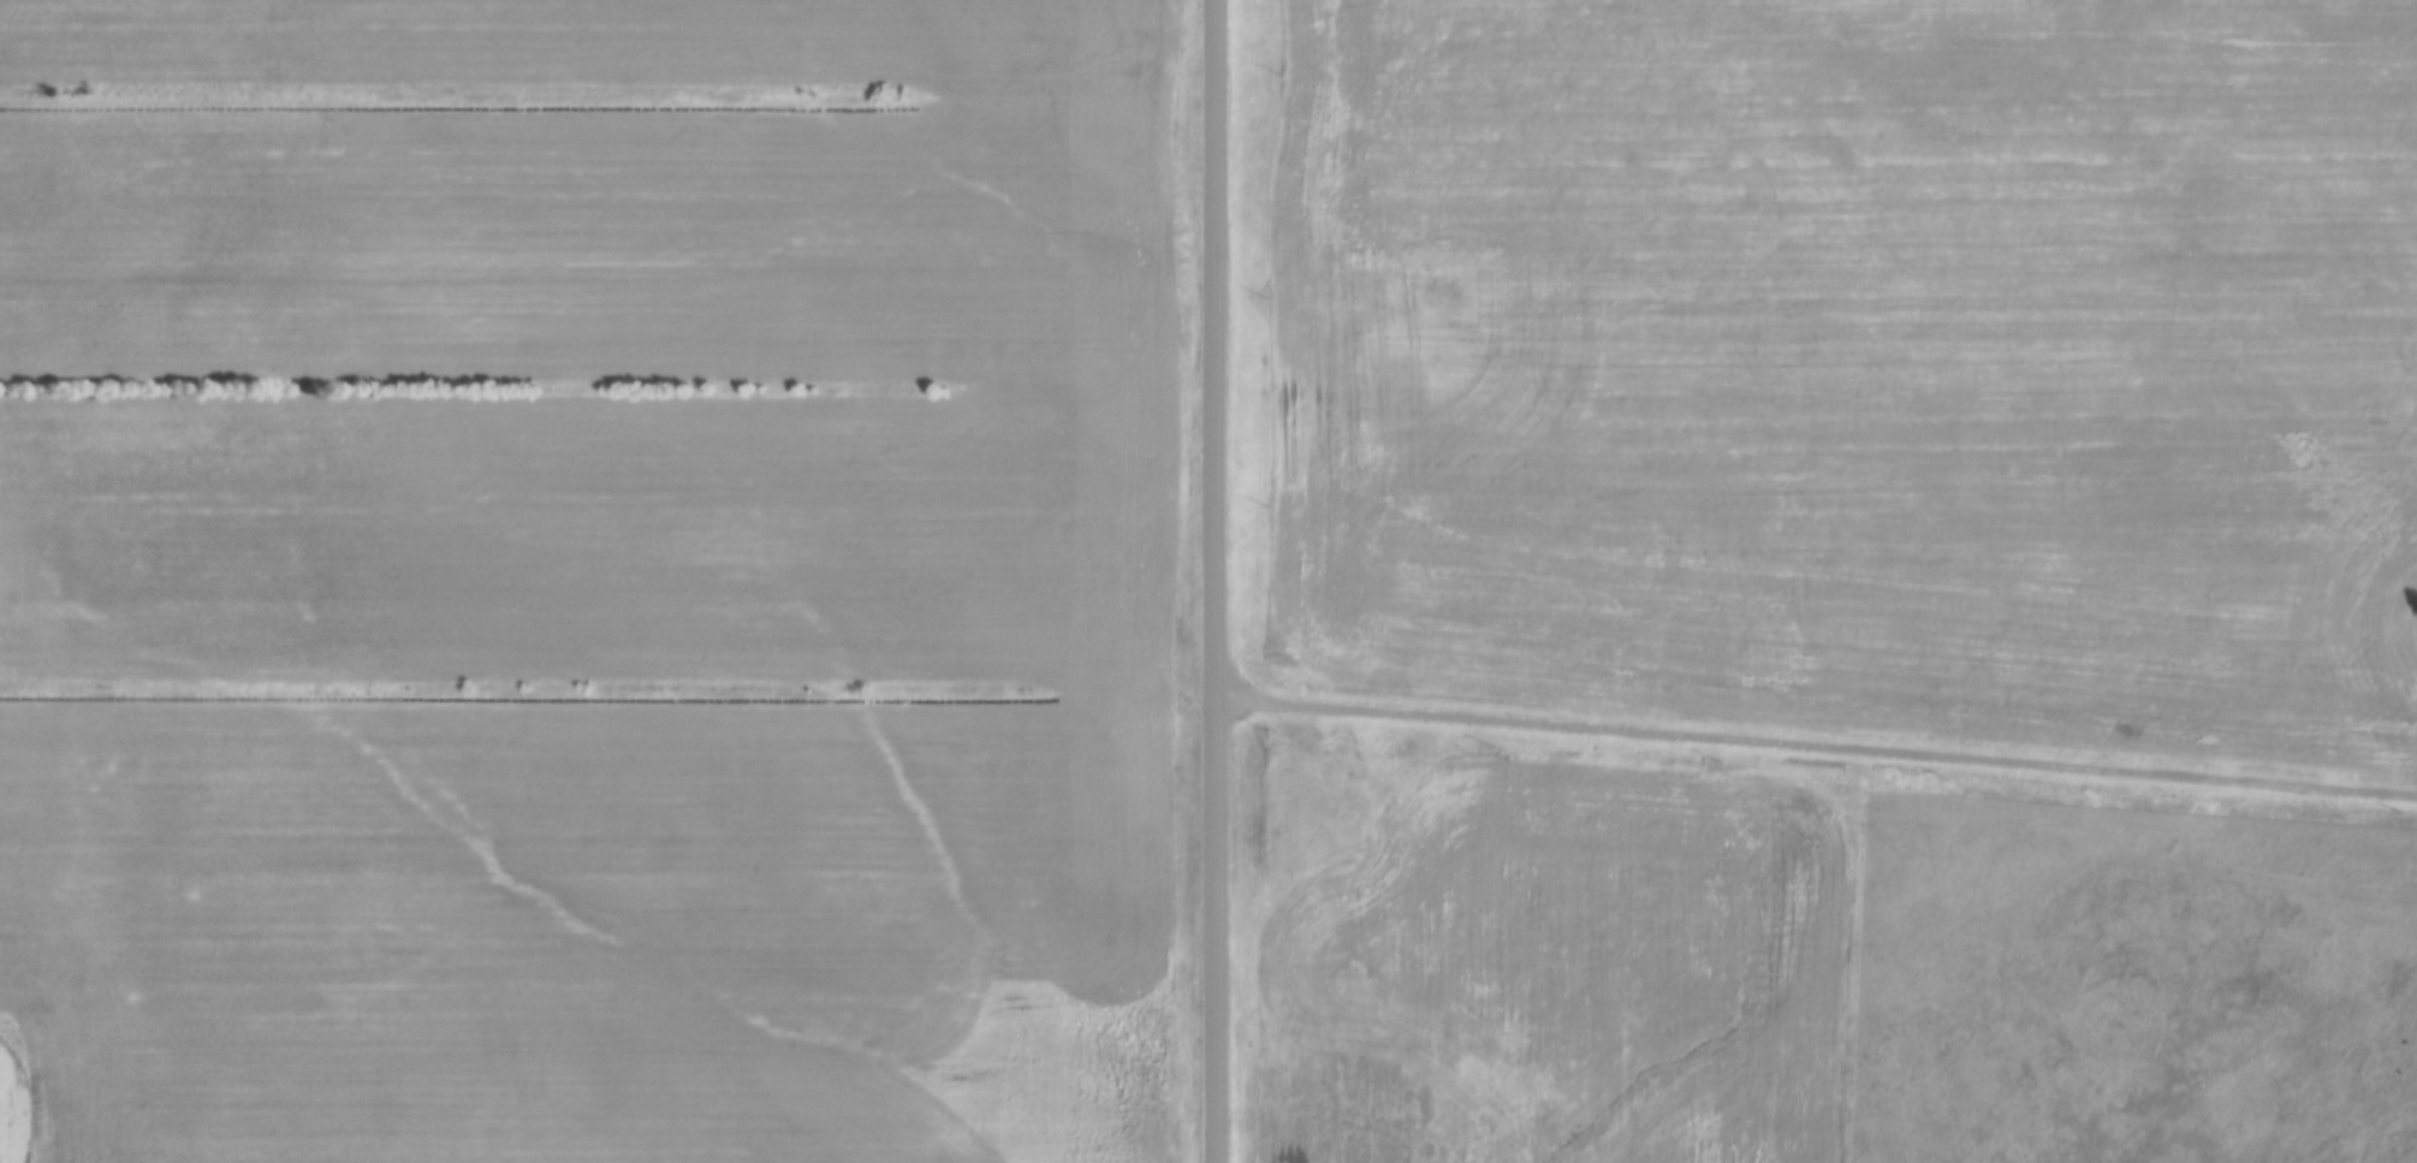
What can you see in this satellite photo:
road: (1216, 581)
road: (1816, 740)

